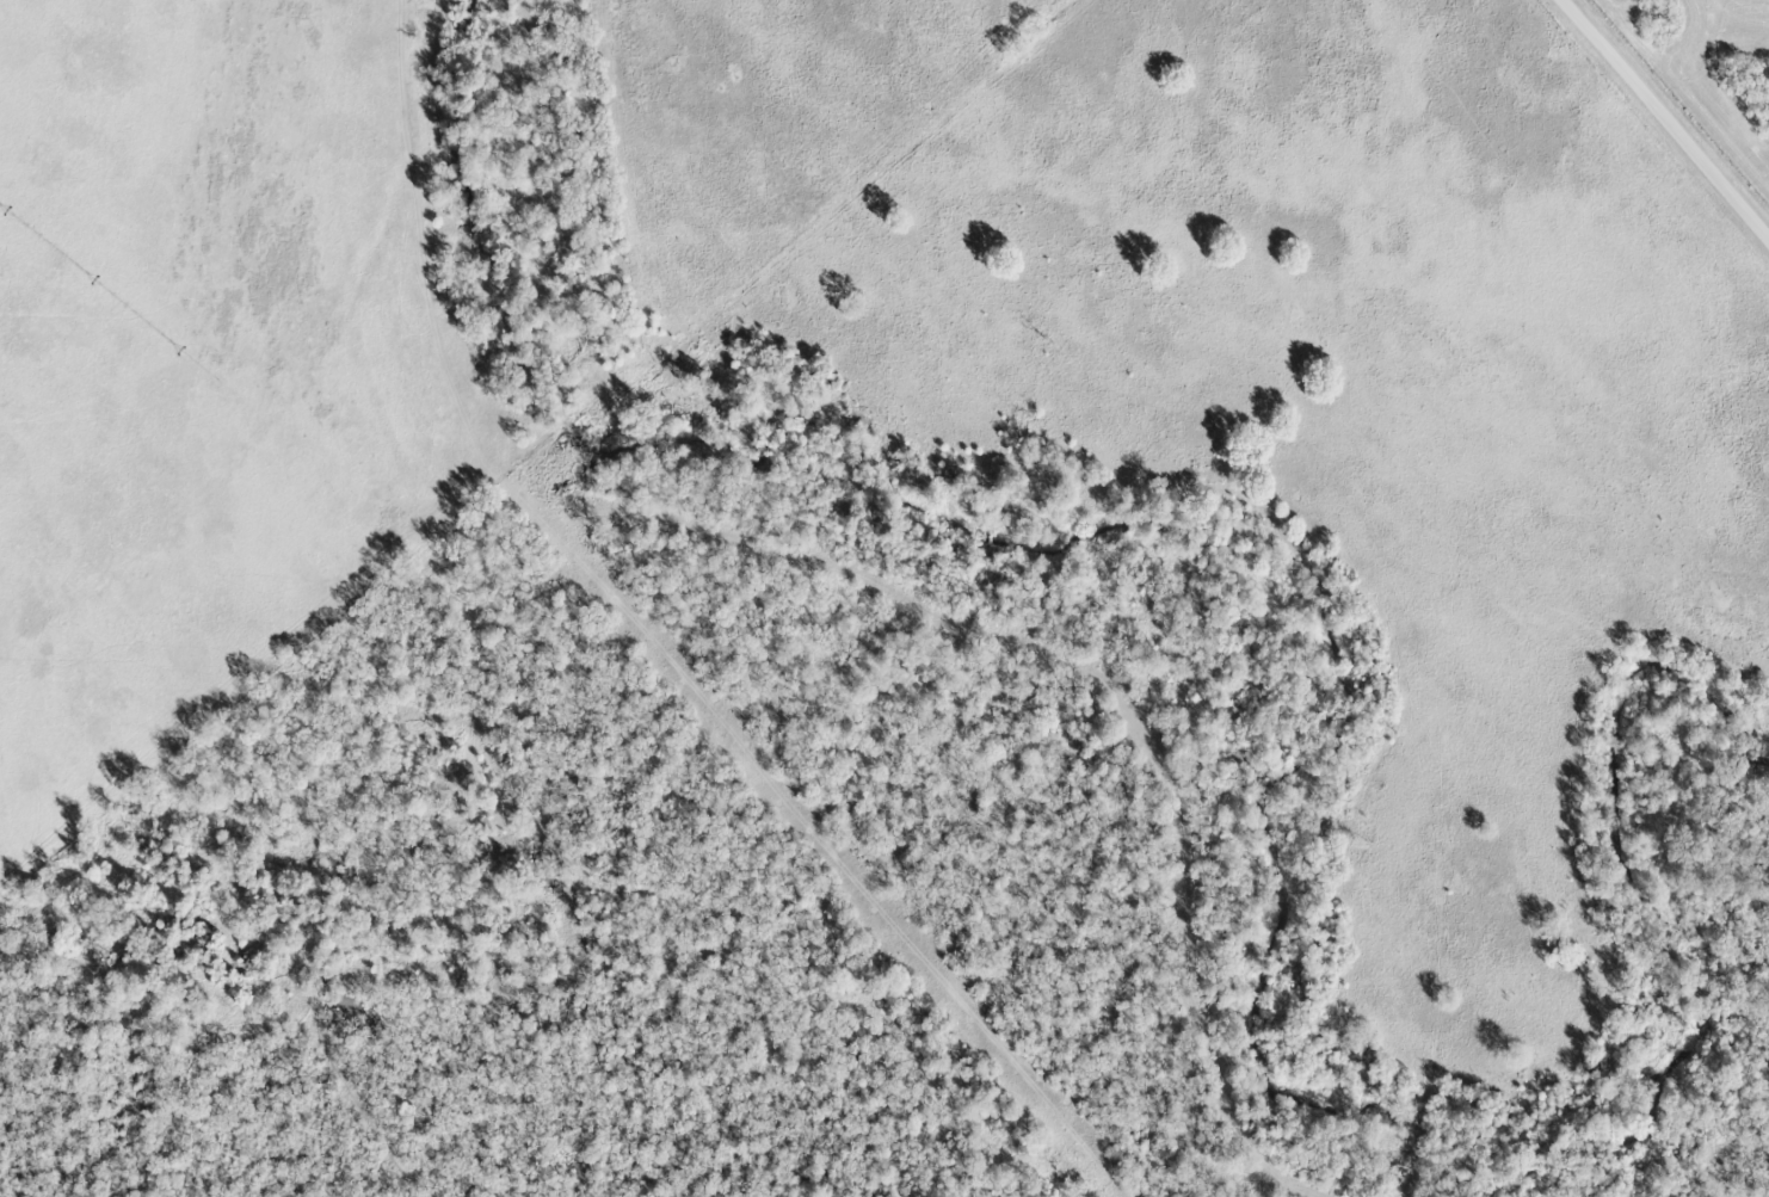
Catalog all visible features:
road: (1668, 118)

